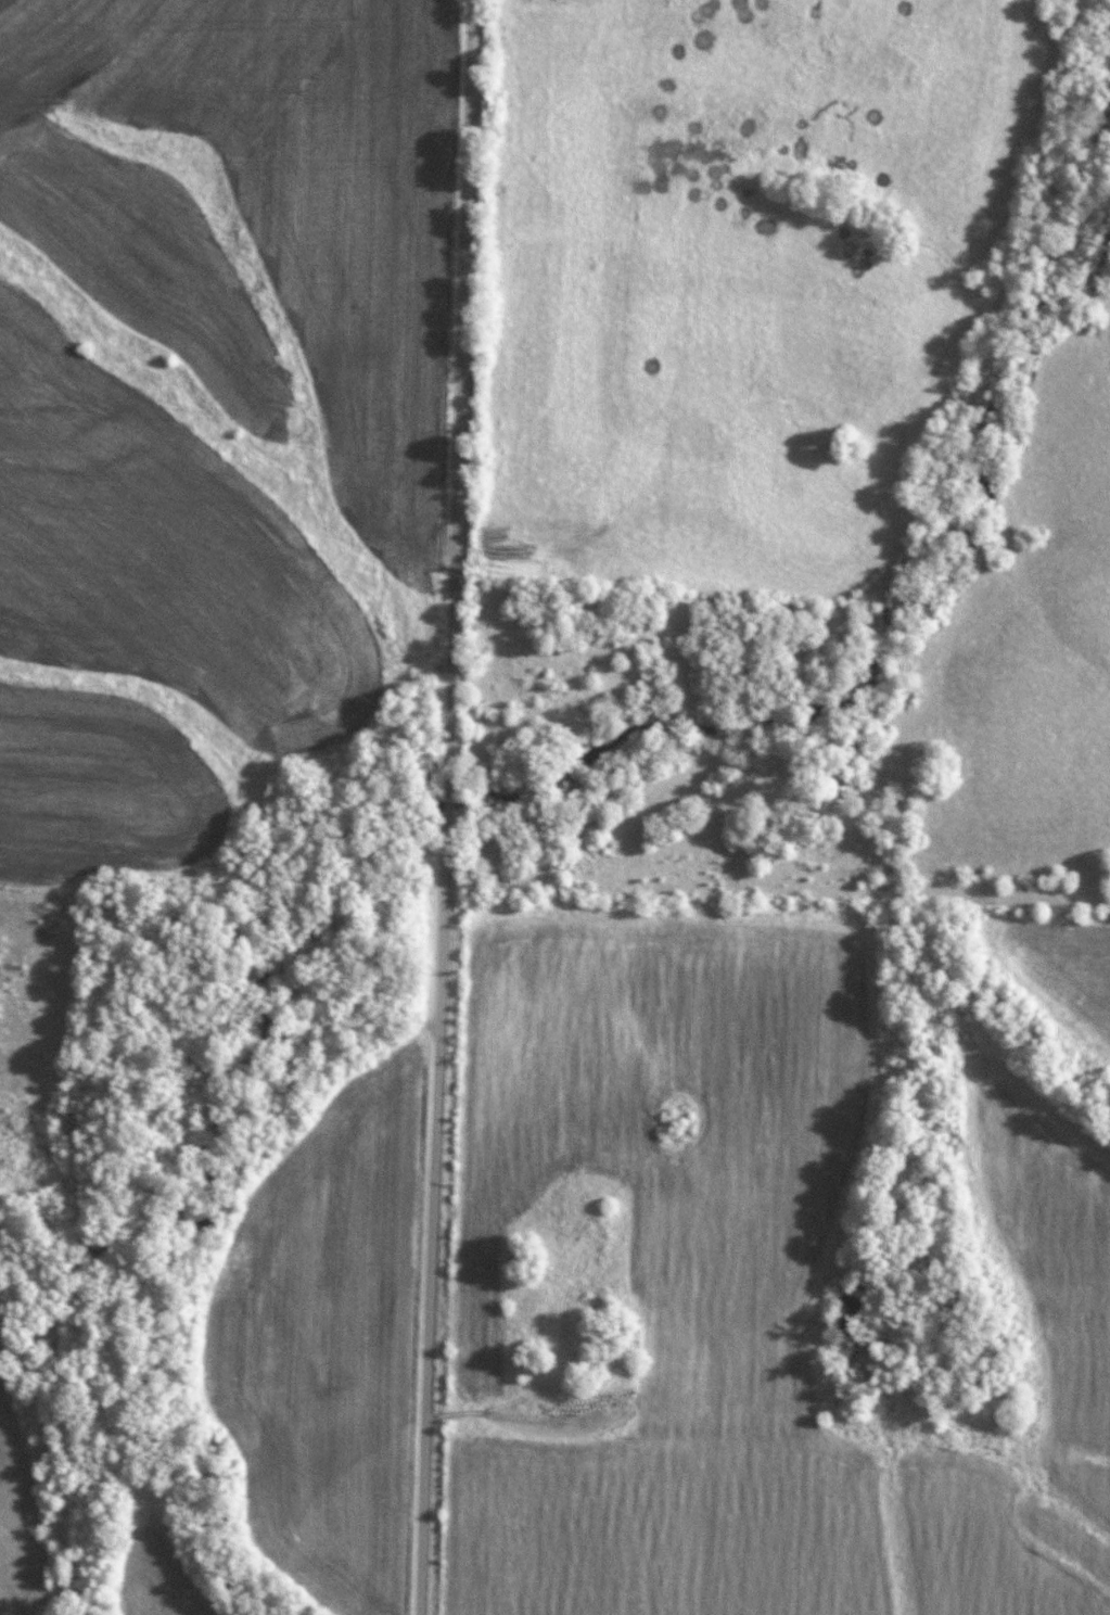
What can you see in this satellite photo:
road: (446, 808)

